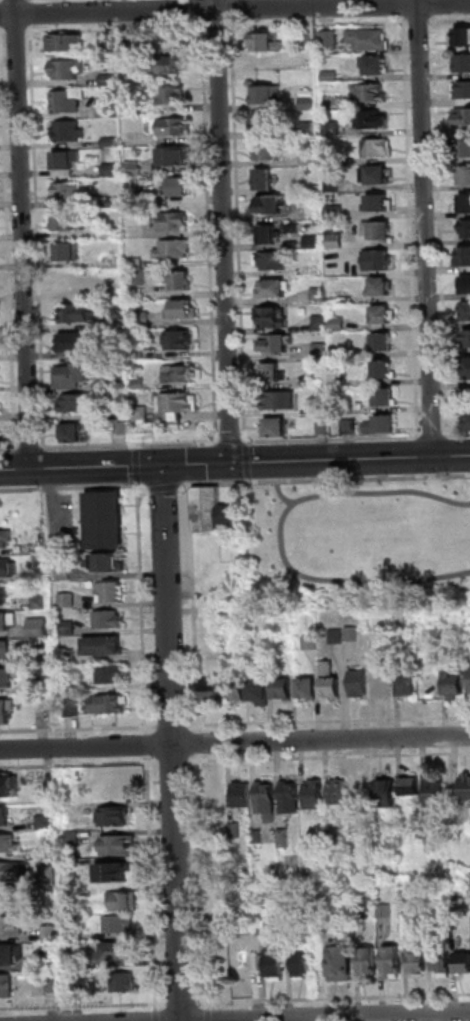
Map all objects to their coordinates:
road: (31, 0)
road: (1, 1)
road: (405, 2)
road: (232, 4)
road: (234, 8)
road: (434, 8)
road: (202, 10)
road: (1, 13)
road: (31, 13)
road: (449, 20)
road: (424, 21)
road: (212, 24)
road: (117, 27)
road: (16, 30)
road: (3, 31)
building: (462, 36)
building: (369, 37)
building: (308, 38)
building: (328, 38)
building: (267, 40)
building: (66, 42)
building: (105, 42)
building: (130, 44)
building: (375, 62)
building: (167, 63)
building: (461, 64)
building: (67, 70)
building: (330, 75)
building: (107, 80)
building: (463, 89)
building: (265, 91)
building: (371, 91)
building: (171, 94)
building: (67, 101)
building: (310, 103)
building: (107, 107)
building: (371, 117)
building: (463, 117)
building: (263, 120)
building: (170, 127)
building: (307, 128)
building: (332, 128)
building: (70, 132)
building: (109, 143)
building: (378, 146)
building: (269, 147)
building: (465, 148)
building: (176, 156)
building: (66, 160)
building: (309, 160)
building: (133, 170)
building: (110, 171)
building: (376, 172)
building: (465, 175)
building: (264, 178)
building: (333, 185)
building: (178, 186)
building: (69, 191)
building: (272, 201)
building: (380, 201)
building: (466, 202)
building: (111, 203)
building: (335, 211)
building: (63, 220)
building: (168, 221)
road: (440, 225)
building: (294, 227)
building: (379, 227)
road: (426, 227)
building: (466, 229)
road: (210, 231)
road: (224, 231)
building: (269, 232)
road: (23, 234)
road: (37, 236)
road: (6, 237)
building: (312, 240)
building: (335, 240)
building: (173, 249)
building: (67, 251)
building: (464, 257)
building: (378, 258)
building: (271, 259)
building: (113, 263)
building: (134, 263)
building: (138, 278)
building: (180, 280)
building: (66, 283)
building: (466, 285)
building: (380, 286)
building: (273, 287)
building: (318, 295)
building: (182, 309)
building: (467, 310)
building: (77, 314)
building: (382, 315)
building: (270, 317)
building: (142, 320)
building: (320, 322)
building: (115, 324)
building: (337, 324)
building: (467, 338)
building: (383, 339)
building: (179, 340)
building: (277, 341)
building: (75, 342)
building: (116, 350)
building: (320, 350)
building: (137, 353)
building: (340, 353)
building: (383, 367)
building: (468, 367)
building: (274, 371)
building: (179, 374)
building: (71, 375)
building: (318, 378)
building: (340, 378)
building: (139, 384)
building: (385, 395)
building: (279, 399)
building: (81, 403)
building: (180, 403)
building: (341, 407)
building: (321, 408)
building: (142, 413)
building: (468, 420)
building: (382, 423)
building: (279, 425)
building: (349, 425)
building: (323, 427)
building: (123, 428)
building: (73, 432)
road: (457, 434)
road: (439, 436)
road: (225, 442)
road: (129, 446)
road: (136, 447)
road: (30, 449)
road: (10, 450)
road: (235, 462)
traffic signals: (232, 463)
traffic signals: (163, 465)
road: (137, 466)
road: (205, 483)
street lamp: (142, 484)
street lamp: (38, 486)
road: (69, 488)
road: (164, 490)
road: (184, 490)
road: (144, 491)
building: (105, 506)
building: (207, 507)
building: (229, 515)
building: (106, 535)
building: (5, 539)
park: (355, 540)
building: (107, 564)
building: (7, 568)
building: (64, 573)
building: (36, 575)
building: (111, 592)
building: (3, 596)
building: (67, 601)
building: (40, 603)
road: (142, 609)
building: (205, 612)
building: (108, 619)
building: (7, 620)
building: (38, 627)
building: (68, 628)
building: (353, 634)
building: (373, 635)
building: (336, 636)
building: (446, 637)
building: (311, 642)
building: (104, 645)
building: (5, 650)
building: (69, 657)
building: (42, 658)
building: (111, 675)
building: (6, 678)
building: (469, 679)
building: (331, 680)
building: (383, 682)
building: (359, 683)
building: (455, 683)
building: (42, 684)
building: (409, 685)
building: (236, 686)
building: (71, 687)
building: (308, 687)
building: (284, 688)
building: (212, 690)
building: (260, 690)
building: (111, 704)
building: (73, 707)
building: (6, 710)
road: (328, 720)
road: (172, 726)
road: (79, 730)
road: (198, 739)
road: (234, 742)
road: (172, 743)
road: (148, 745)
road: (166, 763)
road: (79, 765)
building: (409, 783)
building: (360, 785)
building: (385, 785)
building: (8, 786)
building: (464, 787)
building: (433, 789)
building: (337, 791)
building: (311, 792)
building: (214, 793)
building: (239, 793)
building: (264, 794)
building: (288, 795)
building: (4, 816)
building: (115, 817)
building: (45, 822)
building: (233, 829)
building: (256, 834)
building: (332, 835)
building: (282, 837)
building: (9, 844)
building: (119, 845)
building: (290, 858)
building: (215, 870)
building: (11, 872)
building: (115, 872)
building: (49, 875)
road: (151, 885)
building: (124, 900)
building: (407, 903)
building: (456, 904)
building: (359, 908)
building: (384, 909)
building: (224, 910)
building: (119, 924)
building: (11, 926)
building: (50, 934)
building: (118, 951)
building: (11, 954)
building: (415, 954)
building: (461, 955)
building: (439, 957)
building: (53, 958)
building: (367, 959)
building: (392, 960)
building: (272, 961)
building: (79, 962)
building: (299, 962)
building: (241, 963)
building: (339, 963)
building: (124, 982)
building: (52, 983)
building: (81, 983)
building: (7, 986)
road: (175, 1004)
road: (84, 1006)
road: (340, 1016)
road: (156, 1017)

